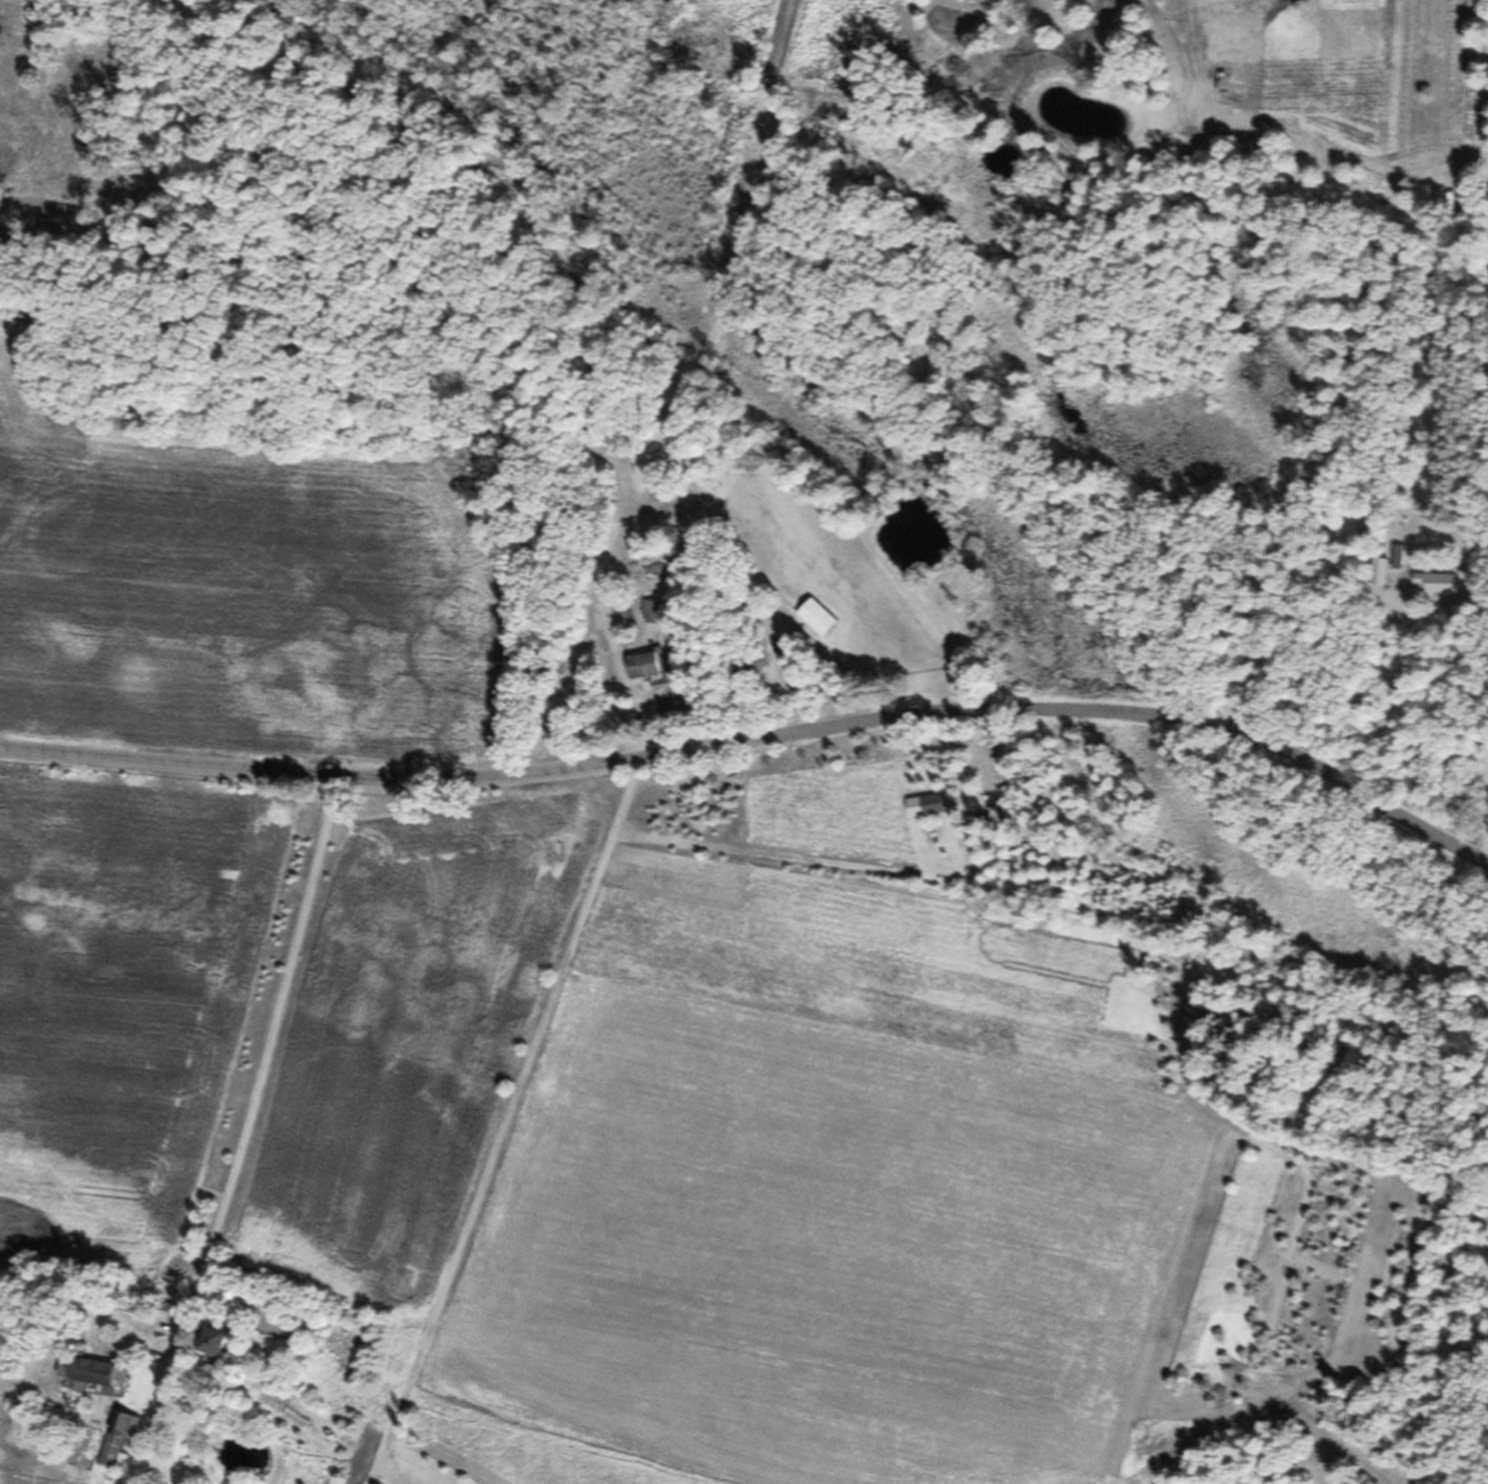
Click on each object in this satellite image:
road: (1478, 417)
building: (1429, 590)
building: (654, 620)
building: (817, 625)
building: (645, 674)
road: (757, 749)
building: (932, 813)
road: (271, 1015)
building: (4, 1281)
building: (216, 1351)
building: (94, 1382)
building: (119, 1448)

